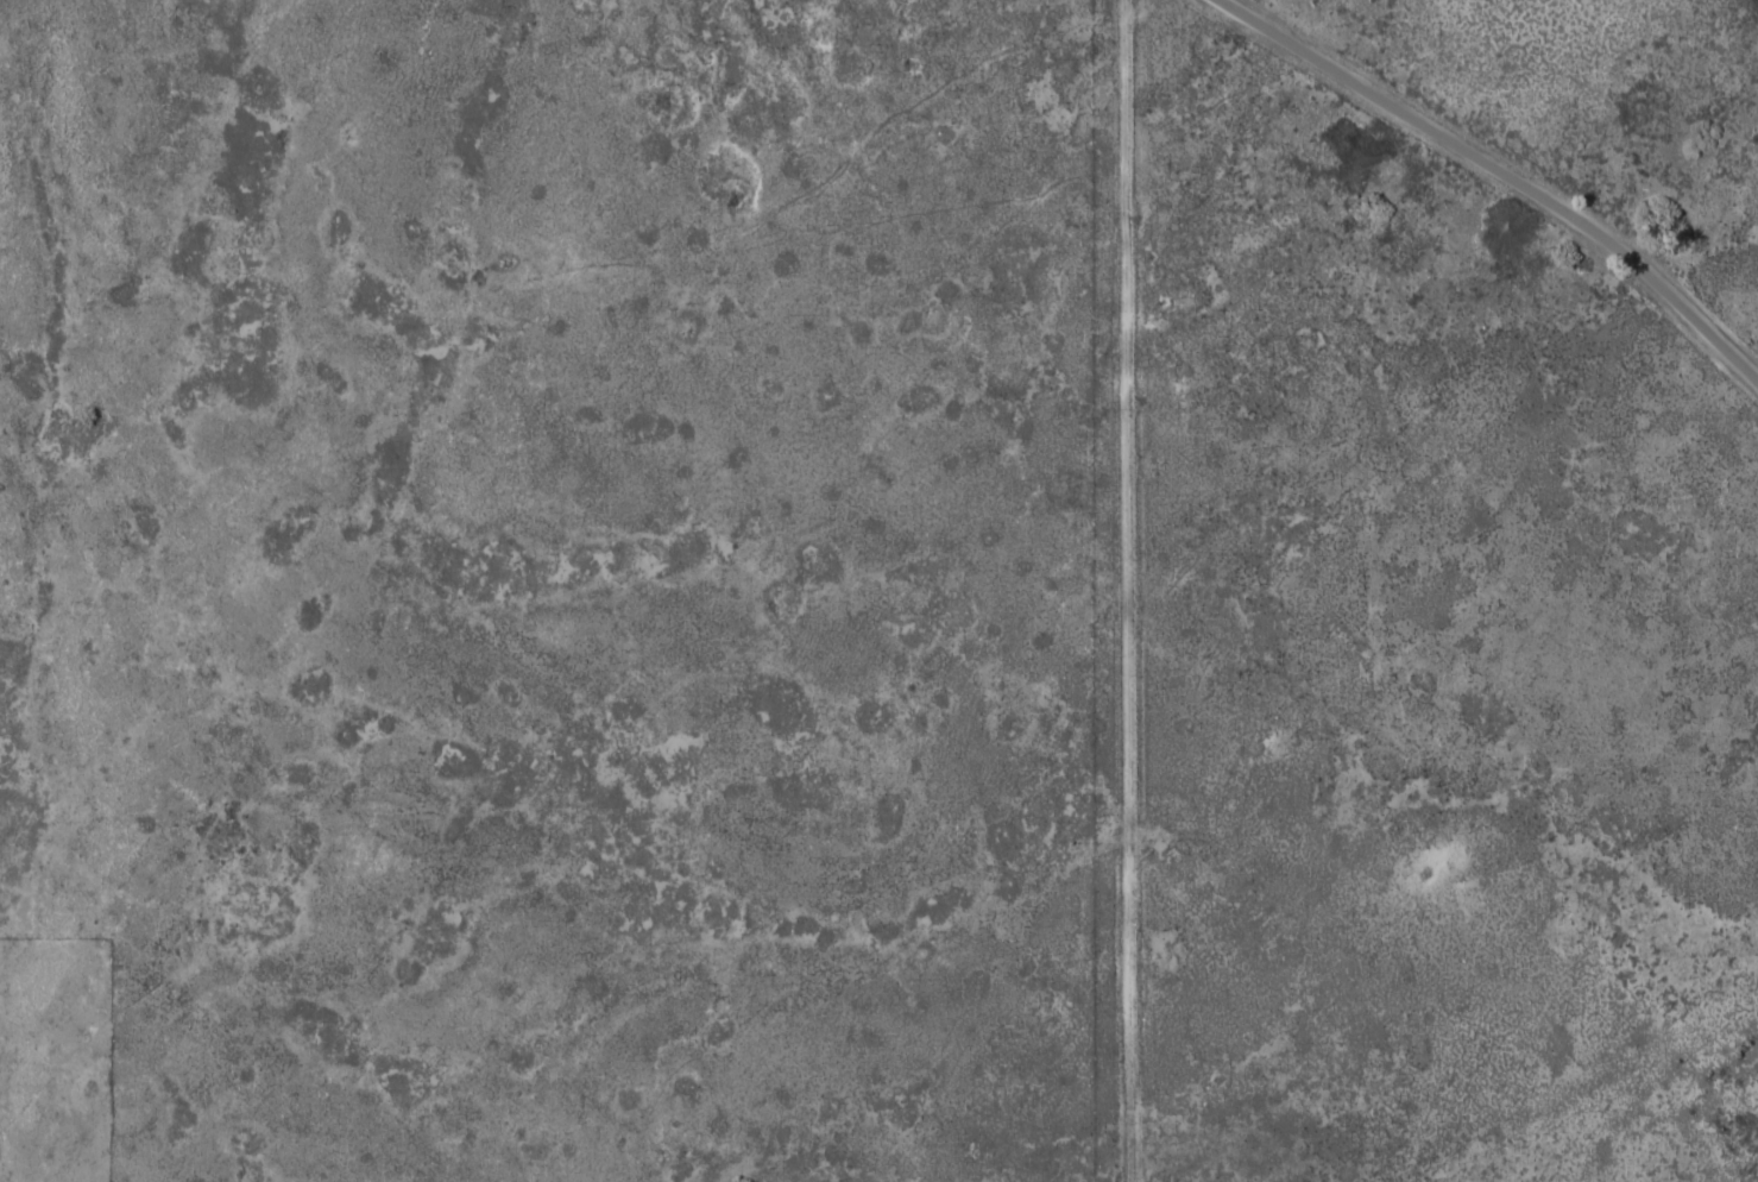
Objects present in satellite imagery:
road: (1508, 170)

